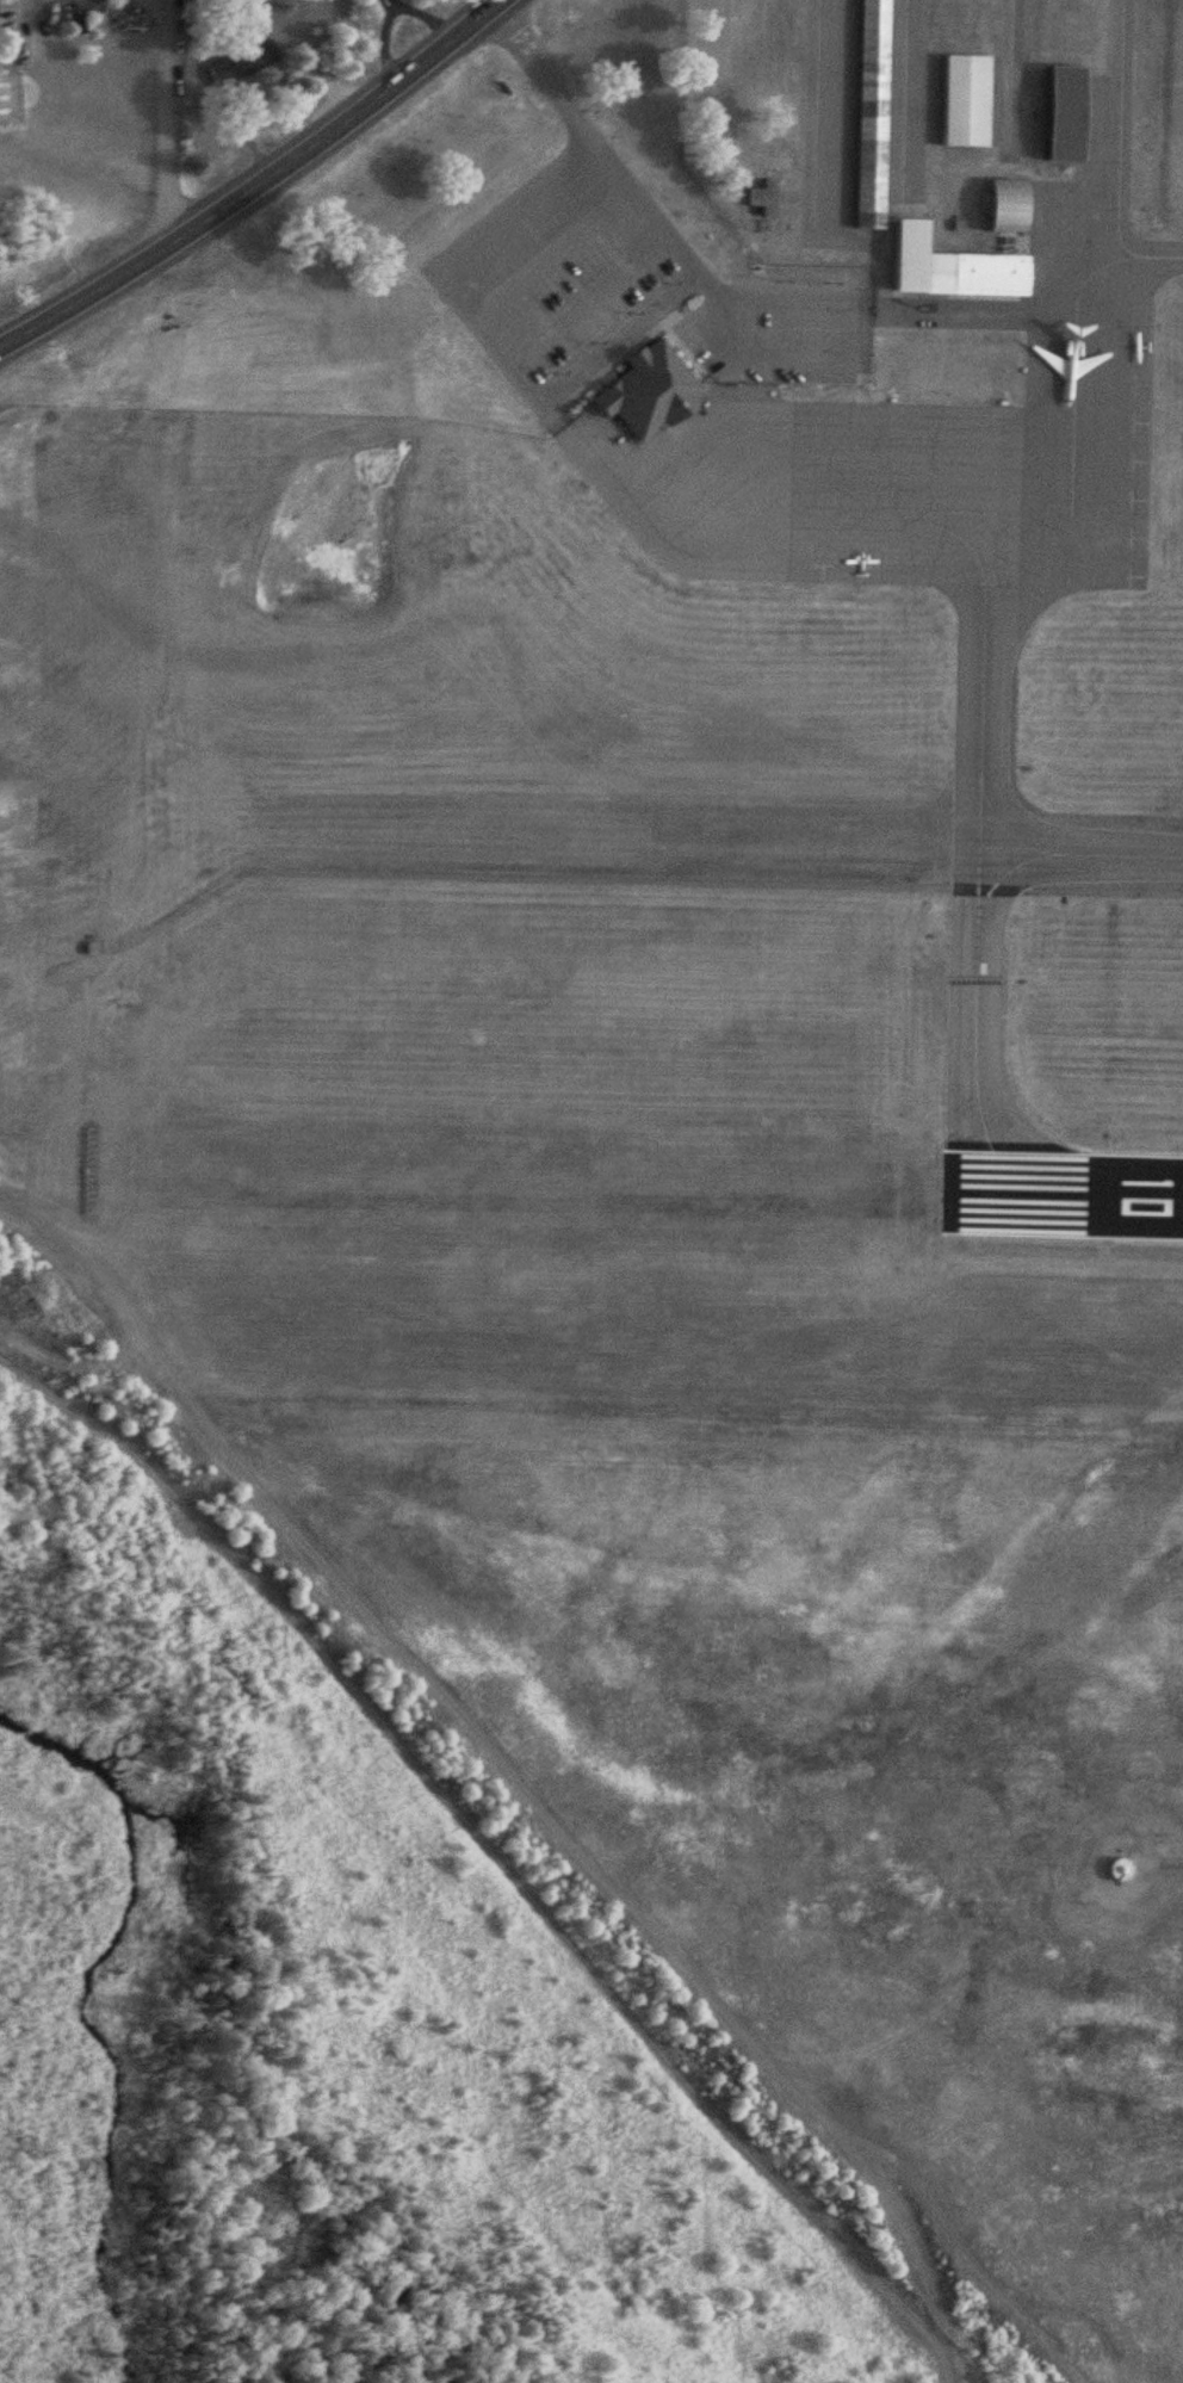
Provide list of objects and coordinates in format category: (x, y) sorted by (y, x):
building: (76, 17)
building: (247, 60)
road: (359, 105)
airport hangar: (962, 109)
building: (962, 109)
airport taxiway: (812, 113)
airport hangar: (866, 113)
building: (866, 113)
airport hangar: (1058, 113)
building: (1058, 113)
airport taxiway: (911, 119)
road: (153, 124)
airport taxiway: (1116, 131)
road: (594, 142)
building: (763, 153)
building: (760, 198)
airport hangar: (999, 206)
building: (999, 206)
airport taxiway: (1157, 259)
building: (979, 274)
road: (110, 278)
parking lot: (572, 303)
parking lot: (775, 333)
airport taxiway: (1070, 371)
airport terminal: (644, 391)
building: (644, 391)
airport apron: (940, 435)
airport taxiway: (1078, 856)
airport taxiway: (973, 889)
airport: (695, 991)
airport runway: (1061, 1197)
road: (497, 1847)
building: (1114, 1870)

